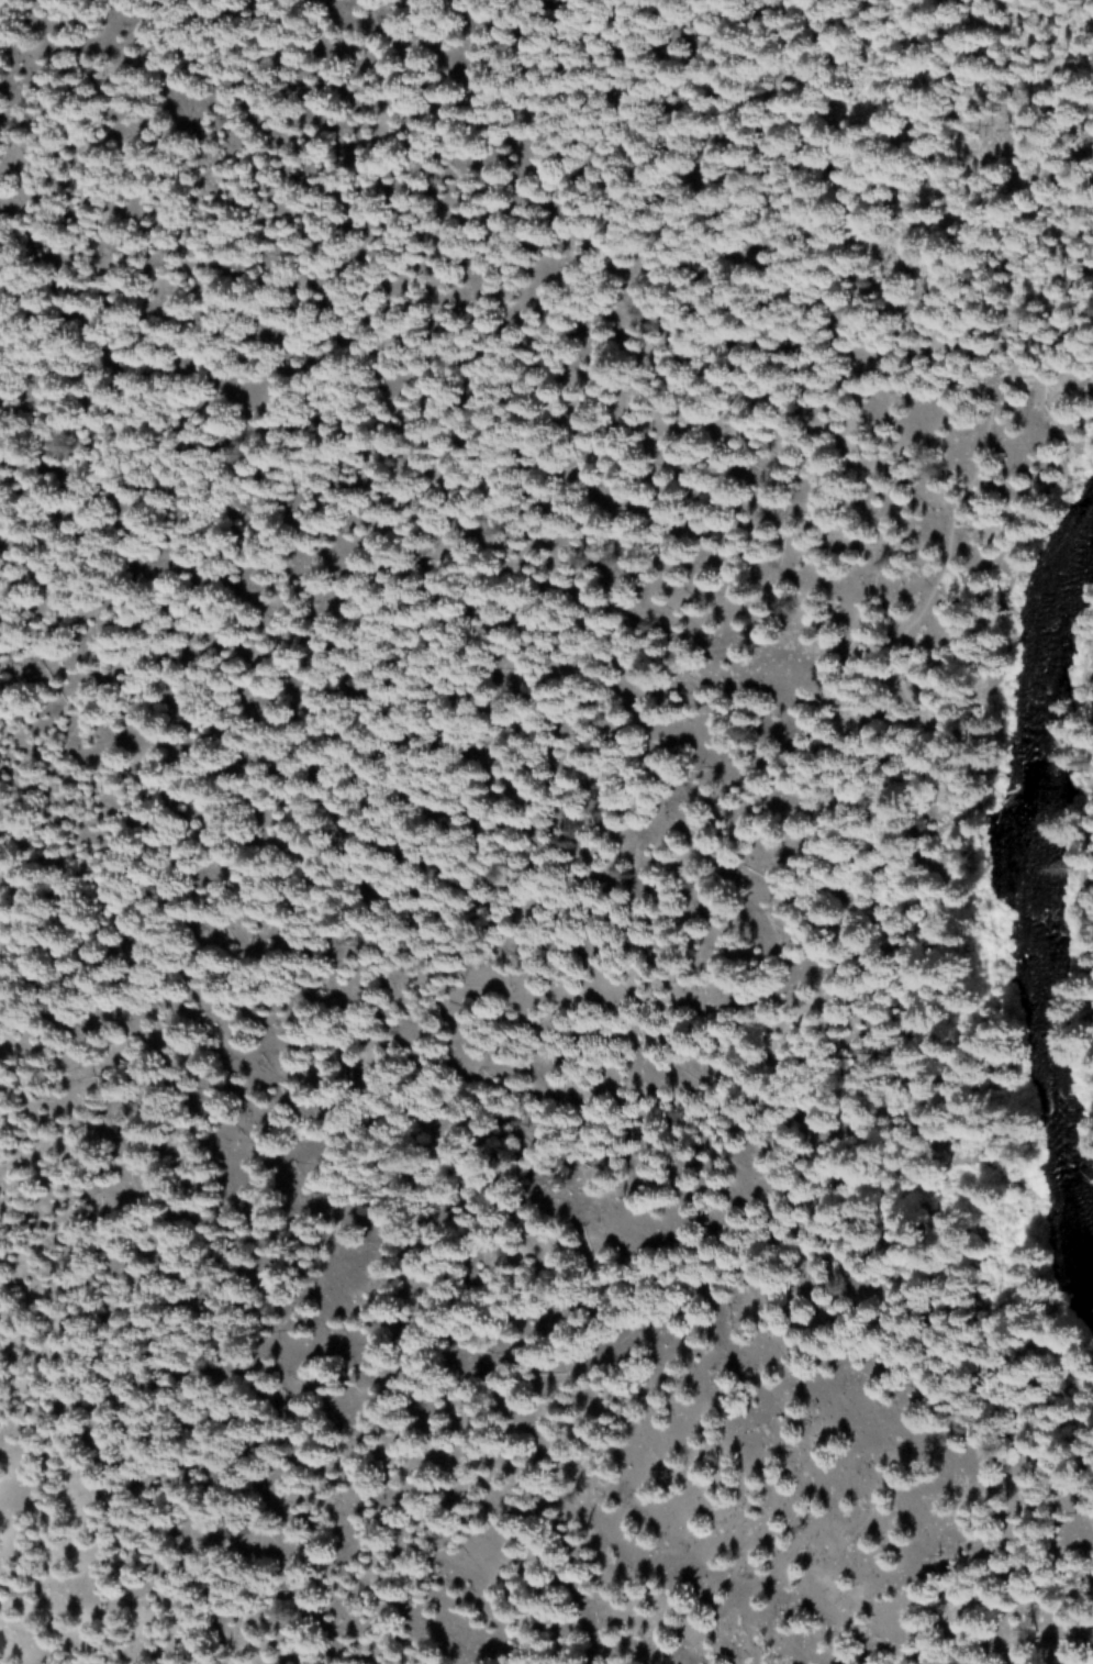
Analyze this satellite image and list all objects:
road: (1084, 827)
river: (1034, 902)
road: (911, 974)

